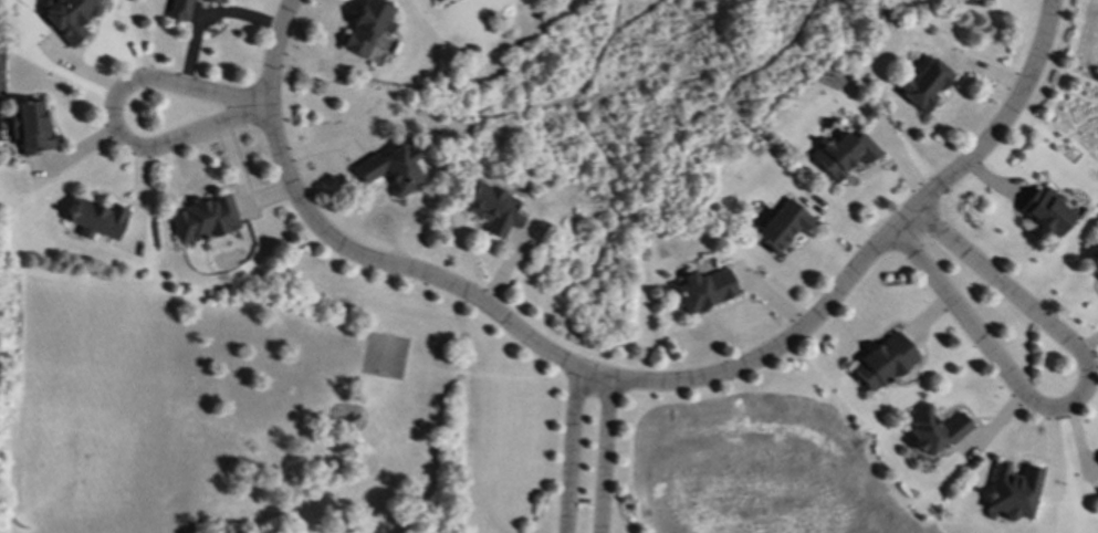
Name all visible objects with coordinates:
building: (433, 0)
building: (435, 0)
building: (981, 0)
building: (215, 1)
building: (179, 10)
building: (70, 18)
building: (368, 27)
building: (1, 73)
building: (926, 85)
road: (113, 117)
building: (31, 128)
building: (844, 155)
building: (393, 170)
building: (494, 210)
building: (1047, 212)
building: (97, 220)
building: (203, 220)
building: (783, 226)
building: (1094, 266)
building: (705, 291)
building: (883, 363)
road: (637, 384)
road: (1078, 401)
park: (191, 415)
building: (931, 432)
road: (573, 450)
road: (606, 458)
building: (1013, 492)

